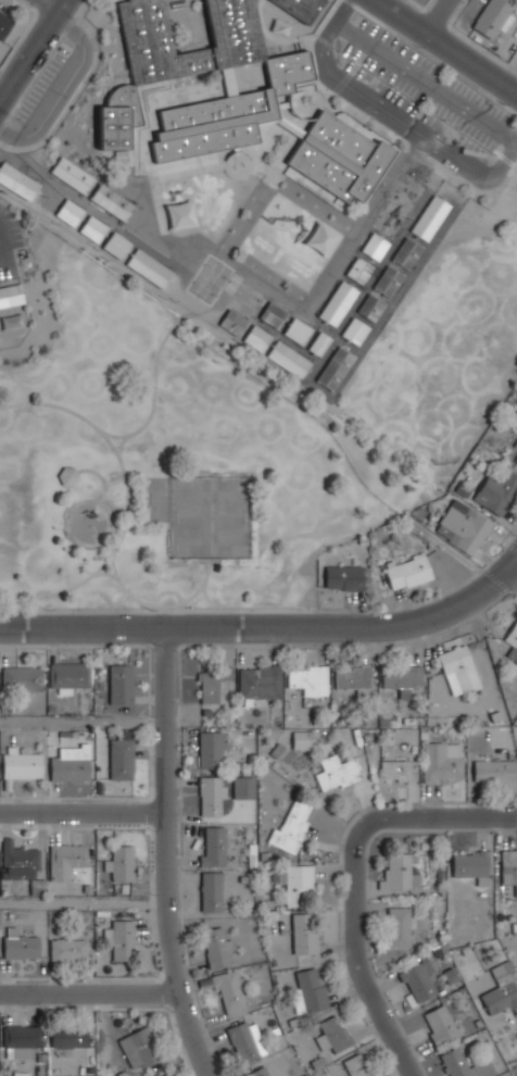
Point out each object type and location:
road: (56, 3)
building: (301, 8)
road: (438, 16)
building: (493, 17)
building: (3, 25)
road: (446, 45)
road: (33, 50)
building: (175, 50)
road: (508, 67)
road: (5, 80)
road: (426, 82)
parking lot: (43, 83)
parking lot: (426, 87)
road: (62, 88)
building: (229, 113)
road: (392, 116)
building: (340, 157)
building: (73, 174)
building: (17, 180)
building: (113, 201)
building: (71, 212)
building: (180, 215)
building: (429, 217)
building: (93, 229)
parking lot: (9, 240)
road: (3, 242)
building: (116, 245)
building: (375, 246)
building: (405, 252)
road: (17, 264)
building: (149, 267)
building: (358, 270)
road: (21, 280)
building: (388, 281)
building: (11, 293)
building: (338, 302)
building: (369, 306)
building: (274, 314)
building: (234, 322)
building: (297, 330)
building: (354, 330)
building: (257, 337)
building: (319, 342)
building: (289, 359)
building: (335, 367)
road: (154, 390)
road: (4, 404)
road: (299, 406)
road: (122, 442)
building: (515, 445)
park: (161, 451)
building: (515, 461)
building: (67, 476)
road: (70, 476)
road: (117, 481)
road: (105, 485)
building: (496, 491)
road: (128, 500)
park: (210, 516)
road: (118, 527)
building: (463, 527)
road: (100, 542)
road: (447, 547)
road: (513, 571)
road: (106, 573)
building: (407, 573)
building: (343, 577)
road: (207, 599)
road: (36, 602)
road: (160, 606)
road: (76, 608)
road: (283, 611)
road: (267, 626)
building: (512, 642)
building: (456, 666)
building: (67, 676)
building: (352, 676)
building: (401, 677)
building: (22, 678)
building: (308, 679)
building: (260, 681)
building: (212, 683)
building: (121, 684)
road: (83, 721)
building: (301, 740)
building: (211, 750)
building: (122, 759)
building: (442, 760)
building: (70, 764)
building: (22, 765)
building: (494, 770)
building: (398, 771)
building: (338, 772)
building: (243, 787)
building: (212, 796)
road: (83, 812)
road: (439, 816)
building: (292, 826)
building: (212, 846)
road: (166, 855)
building: (66, 860)
building: (121, 862)
building: (21, 864)
building: (471, 864)
building: (508, 868)
building: (400, 873)
building: (295, 881)
building: (211, 891)
road: (83, 901)
building: (399, 926)
building: (303, 933)
building: (122, 939)
building: (20, 944)
building: (216, 947)
building: (68, 949)
road: (357, 956)
building: (418, 980)
building: (310, 989)
building: (501, 989)
road: (90, 991)
building: (228, 991)
building: (439, 1025)
building: (333, 1034)
building: (21, 1036)
building: (68, 1037)
building: (243, 1042)
building: (139, 1048)
building: (455, 1062)
building: (357, 1065)
building: (258, 1072)
building: (167, 1075)

